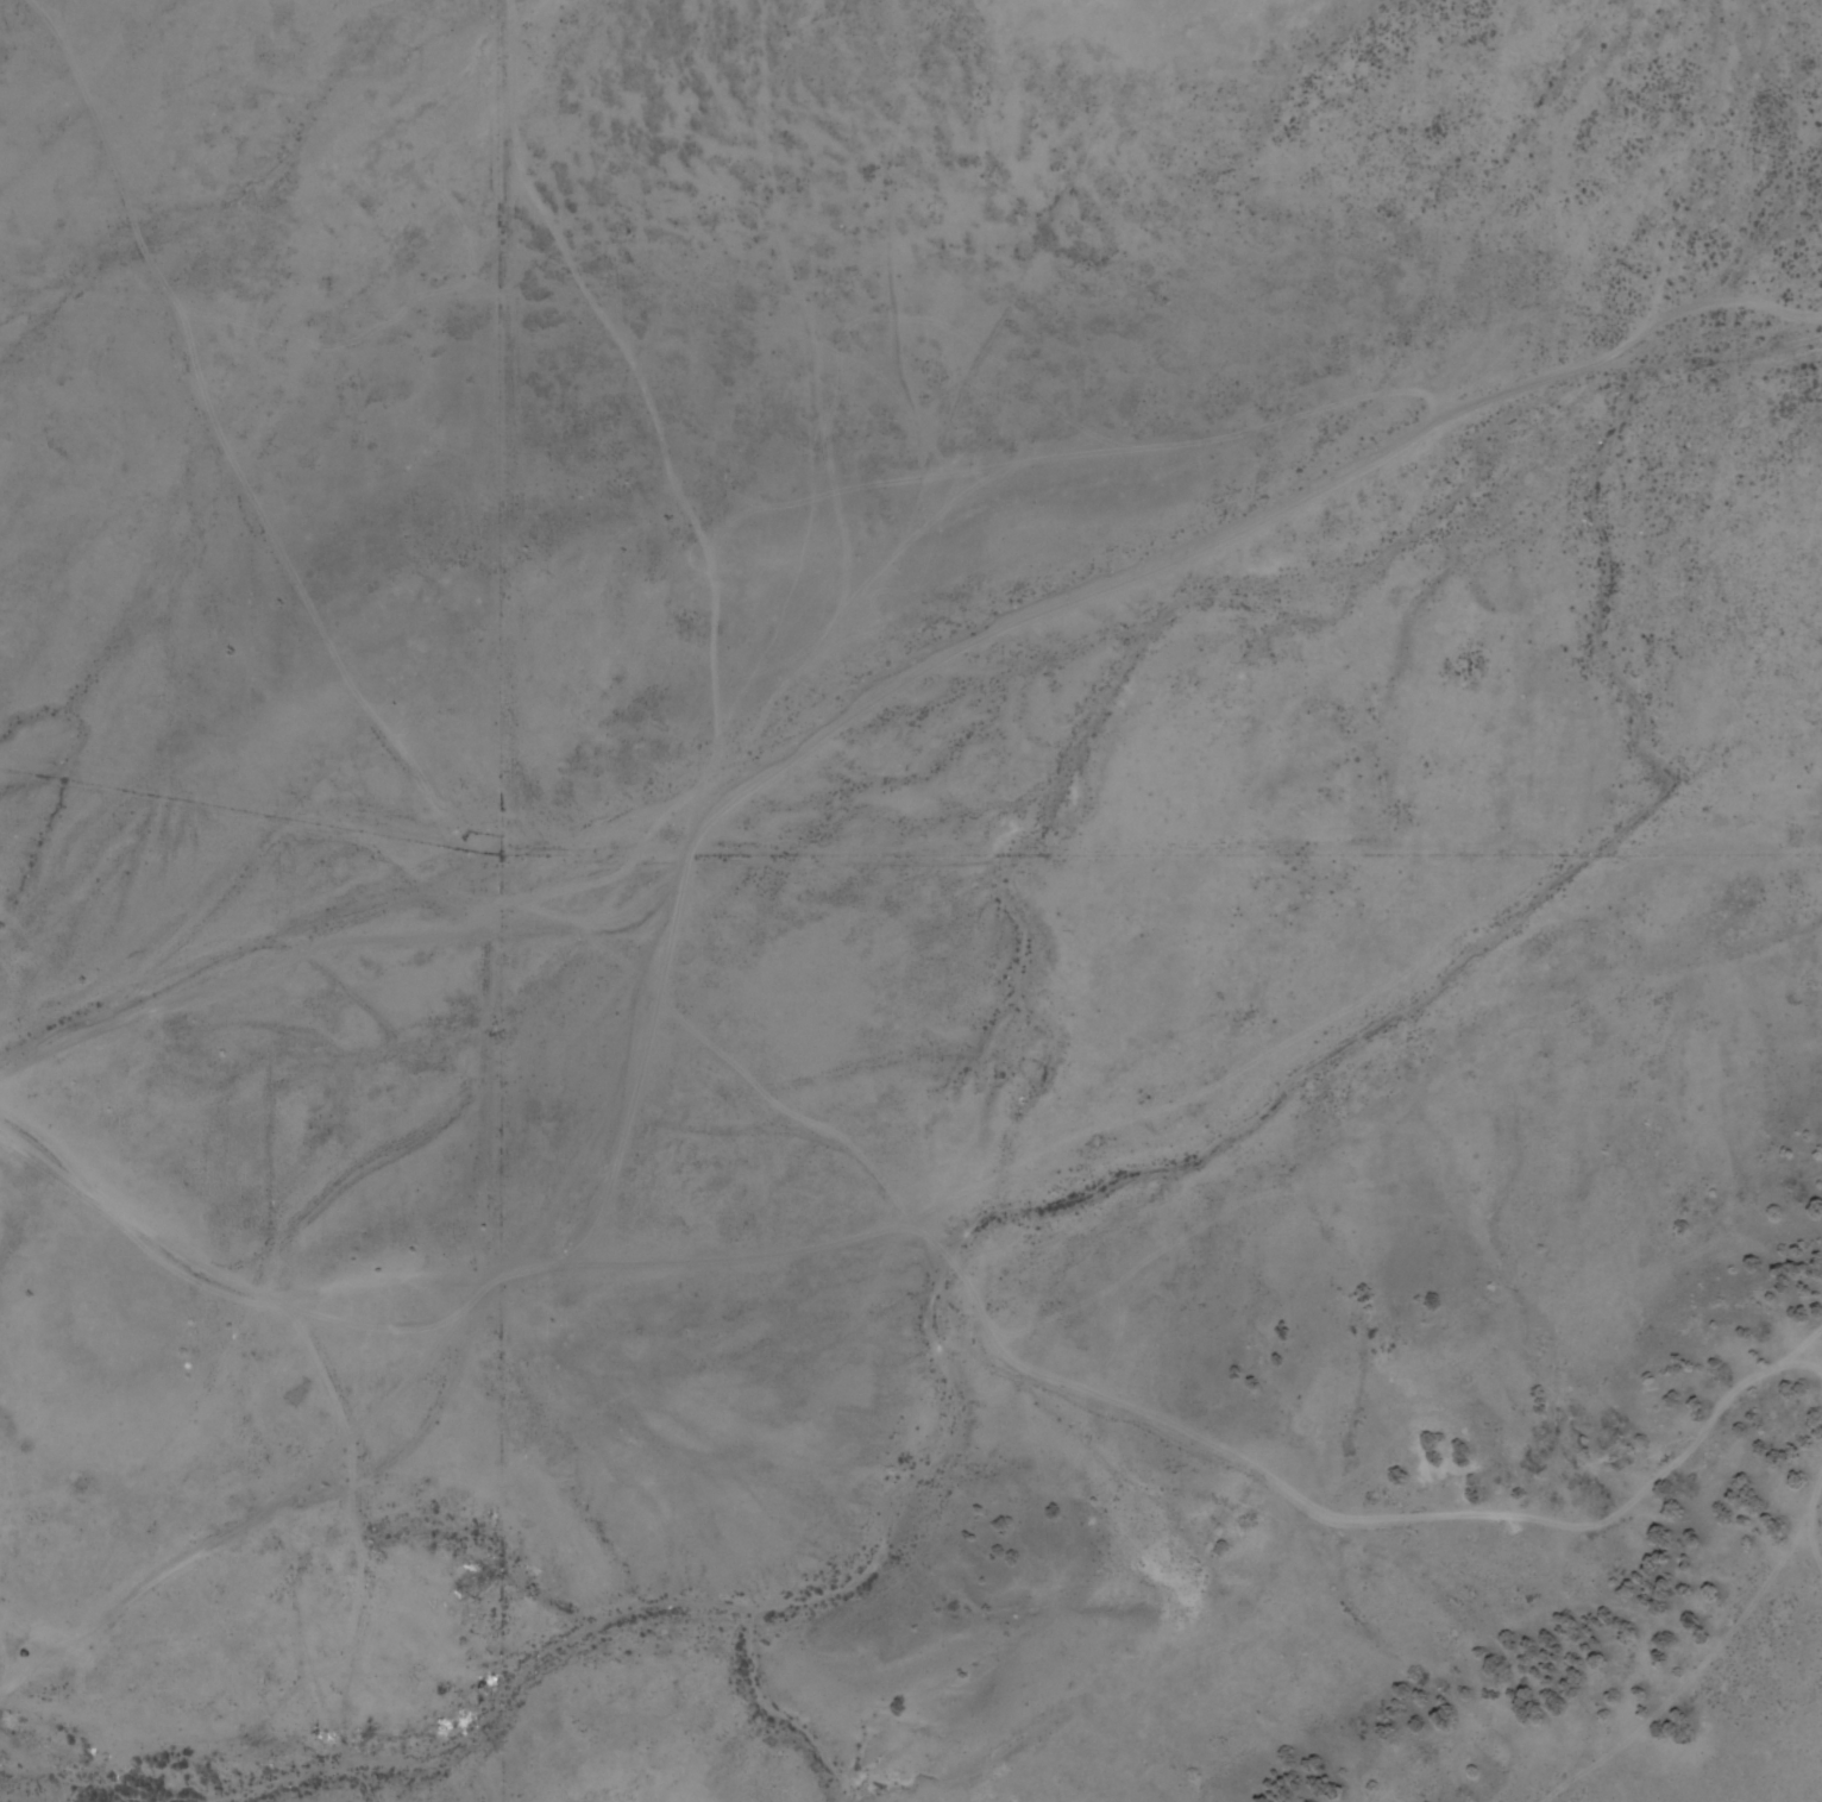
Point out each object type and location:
road: (1016, 703)

